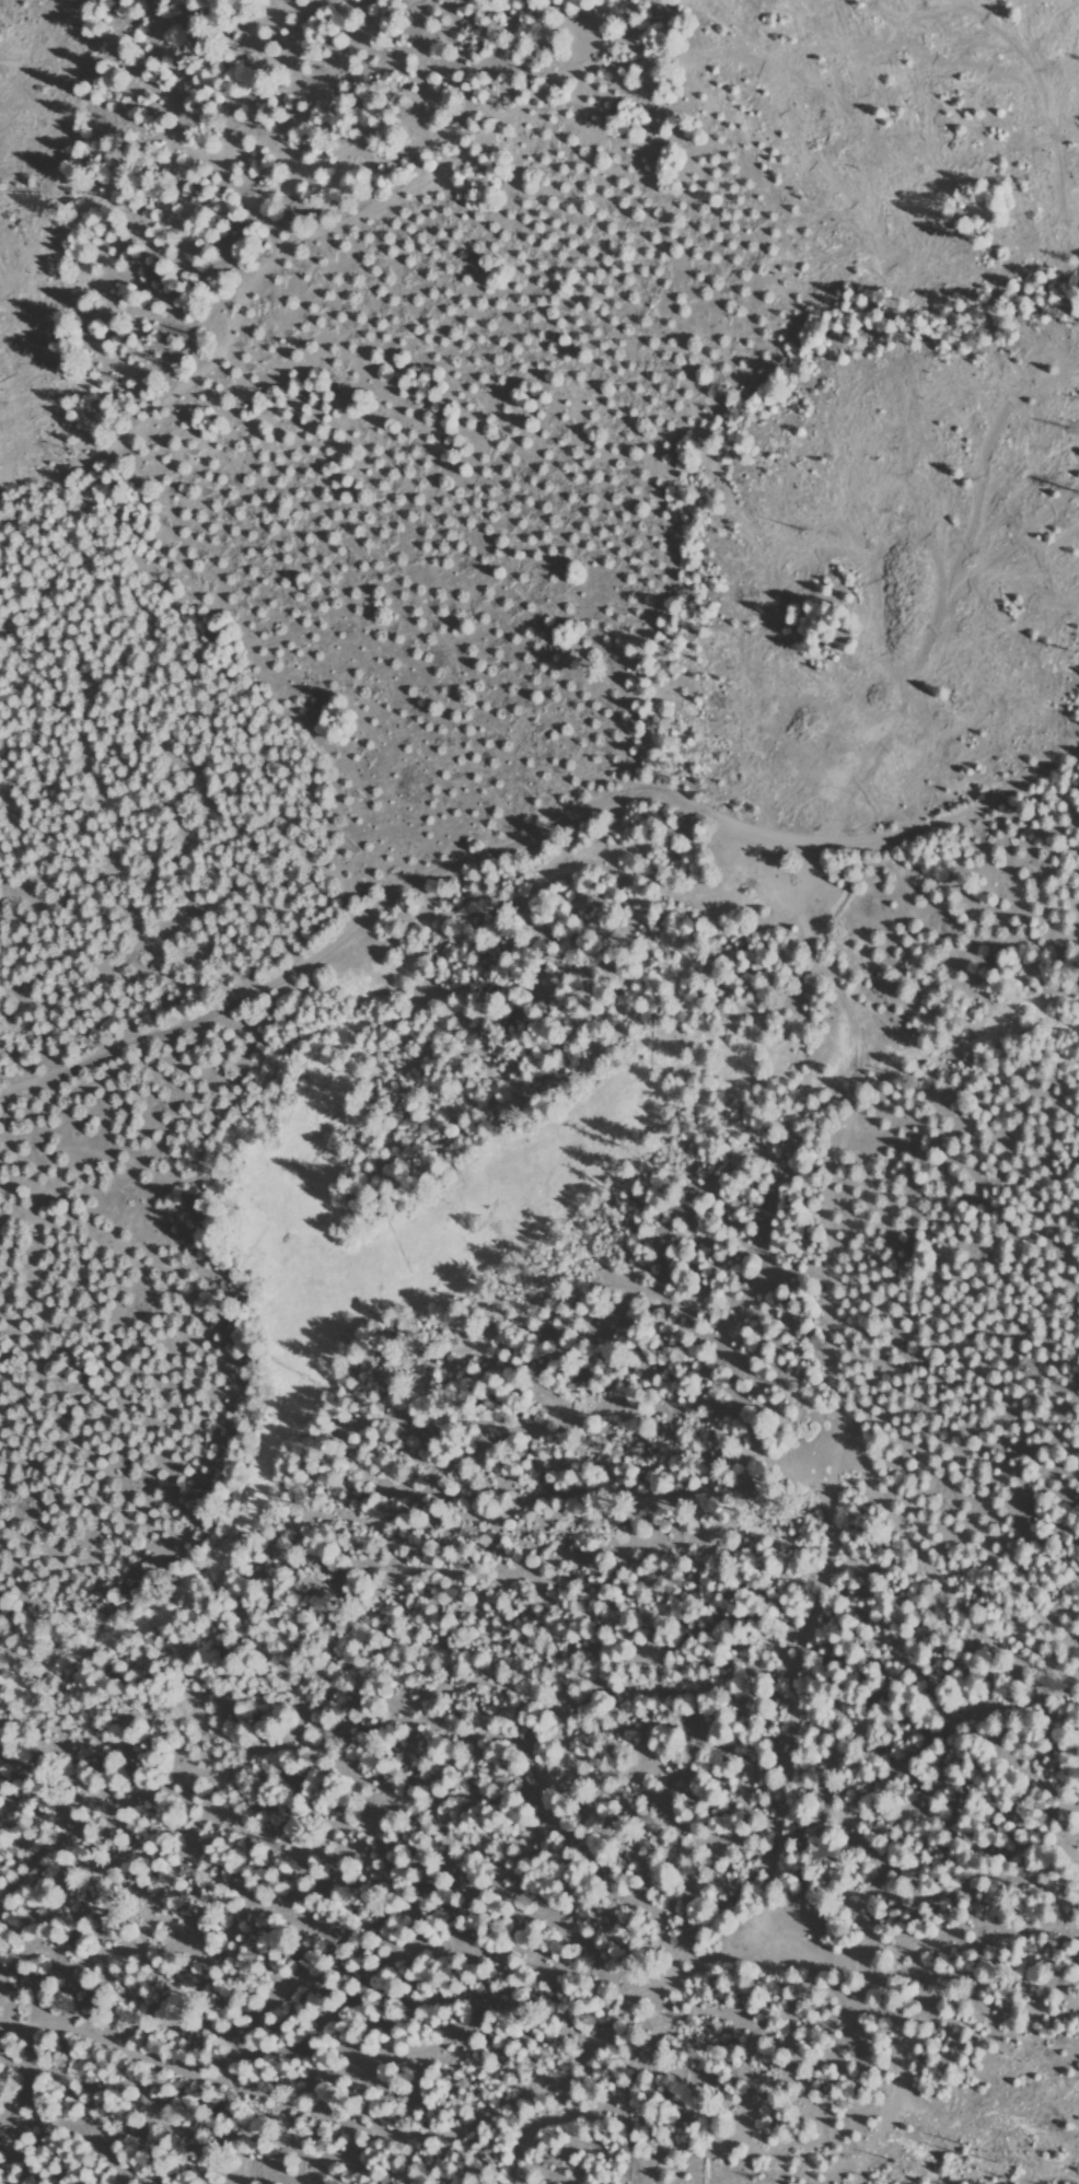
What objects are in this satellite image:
road: (526, 826)

